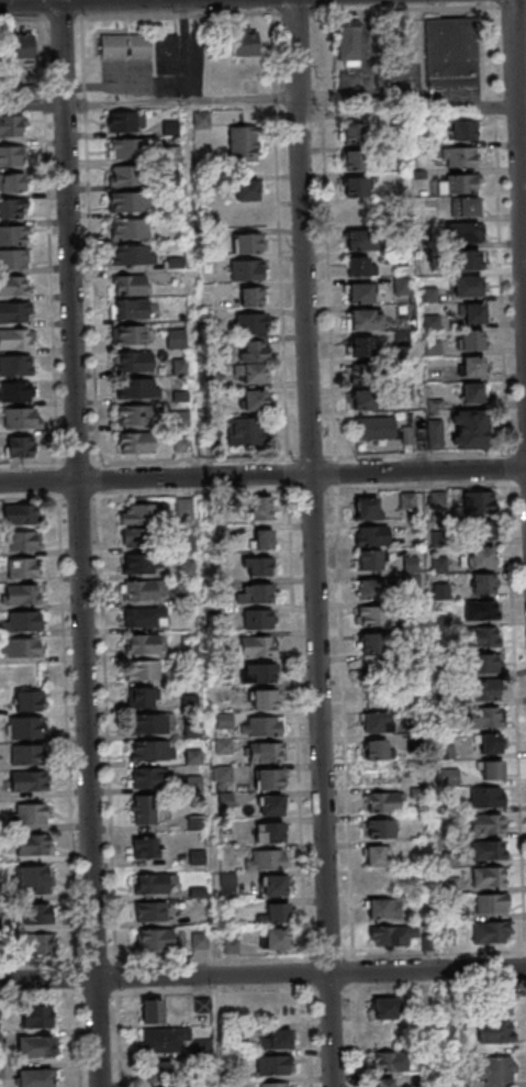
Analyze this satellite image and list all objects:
road: (511, 4)
road: (406, 8)
road: (293, 12)
road: (20, 18)
road: (60, 18)
building: (347, 42)
building: (244, 43)
building: (125, 46)
building: (19, 48)
building: (451, 52)
building: (167, 55)
road: (166, 88)
road: (179, 100)
road: (31, 106)
road: (521, 106)
building: (125, 122)
building: (10, 125)
building: (466, 130)
building: (354, 133)
building: (243, 142)
building: (127, 148)
building: (11, 155)
building: (458, 156)
building: (354, 159)
building: (126, 176)
building: (12, 182)
building: (459, 182)
building: (356, 187)
building: (246, 188)
road: (518, 189)
building: (130, 201)
building: (465, 207)
building: (12, 209)
building: (359, 213)
building: (131, 229)
building: (465, 232)
building: (13, 235)
building: (360, 240)
building: (246, 243)
building: (133, 255)
building: (13, 258)
building: (469, 259)
building: (358, 266)
road: (48, 268)
building: (246, 269)
building: (13, 286)
building: (131, 286)
building: (468, 286)
building: (401, 288)
building: (359, 292)
building: (251, 297)
building: (130, 308)
building: (15, 312)
building: (473, 313)
building: (363, 319)
building: (250, 323)
building: (127, 334)
building: (15, 339)
building: (176, 339)
building: (471, 339)
building: (359, 346)
building: (132, 362)
building: (253, 362)
building: (15, 366)
building: (472, 366)
building: (361, 373)
building: (134, 388)
building: (15, 392)
building: (473, 392)
building: (255, 400)
building: (363, 400)
building: (134, 414)
building: (21, 418)
building: (374, 428)
building: (469, 429)
building: (246, 431)
building: (435, 434)
building: (135, 442)
building: (18, 446)
road: (423, 453)
road: (96, 462)
road: (262, 476)
building: (477, 502)
building: (257, 508)
building: (367, 509)
building: (21, 513)
building: (138, 514)
building: (372, 535)
building: (133, 537)
building: (23, 541)
building: (260, 541)
road: (78, 543)
road: (312, 543)
building: (480, 556)
building: (369, 561)
building: (135, 563)
building: (411, 564)
building: (187, 567)
building: (259, 567)
building: (24, 568)
building: (483, 584)
building: (369, 589)
building: (145, 590)
building: (260, 592)
building: (23, 595)
building: (481, 610)
building: (145, 617)
building: (373, 617)
building: (258, 619)
building: (24, 621)
building: (481, 637)
building: (374, 643)
building: (144, 644)
building: (257, 645)
building: (21, 647)
building: (482, 664)
building: (377, 669)
building: (143, 670)
building: (258, 673)
building: (484, 691)
building: (141, 697)
building: (265, 699)
building: (29, 701)
building: (484, 717)
building: (377, 722)
building: (152, 723)
building: (261, 726)
building: (26, 728)
building: (489, 743)
building: (223, 746)
building: (374, 748)
building: (152, 751)
building: (265, 752)
building: (27, 754)
building: (493, 769)
building: (449, 776)
building: (148, 777)
building: (268, 778)
building: (27, 780)
building: (485, 797)
building: (383, 801)
building: (271, 805)
building: (144, 810)
building: (31, 813)
building: (488, 823)
building: (380, 829)
building: (271, 832)
building: (32, 844)
building: (147, 848)
building: (490, 850)
building: (374, 855)
building: (266, 859)
building: (34, 876)
building: (489, 876)
building: (154, 883)
building: (380, 883)
building: (273, 886)
building: (491, 903)
building: (383, 908)
building: (150, 911)
building: (275, 912)
building: (36, 914)
building: (490, 932)
building: (396, 935)
building: (276, 939)
building: (157, 940)
building: (199, 940)
building: (35, 945)
road: (262, 975)
building: (202, 1005)
building: (496, 1005)
building: (279, 1009)
building: (385, 1009)
building: (152, 1010)
building: (35, 1018)
building: (496, 1032)
building: (163, 1040)
building: (277, 1041)
building: (34, 1046)
building: (202, 1046)
building: (390, 1062)
building: (273, 1065)
building: (496, 1069)
building: (159, 1073)
building: (34, 1077)
building: (385, 1083)
building: (273, 1085)

